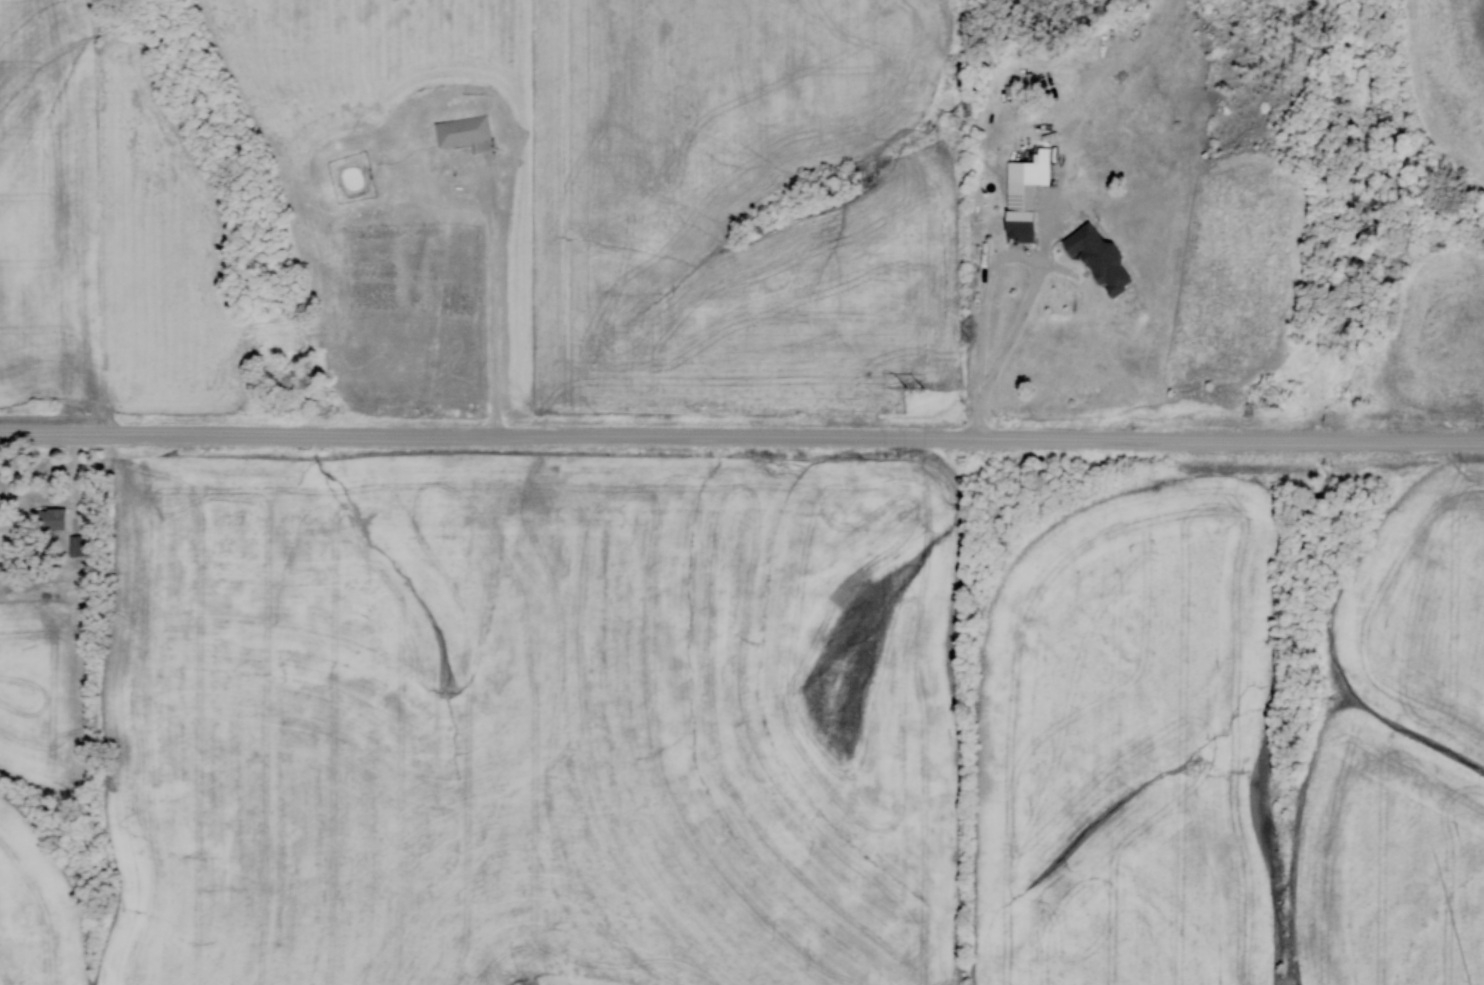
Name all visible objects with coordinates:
building: (1019, 196)
road: (1056, 205)
building: (1094, 258)
road: (1003, 260)
power tower: (921, 389)
building: (46, 405)
road: (742, 438)
building: (51, 519)

